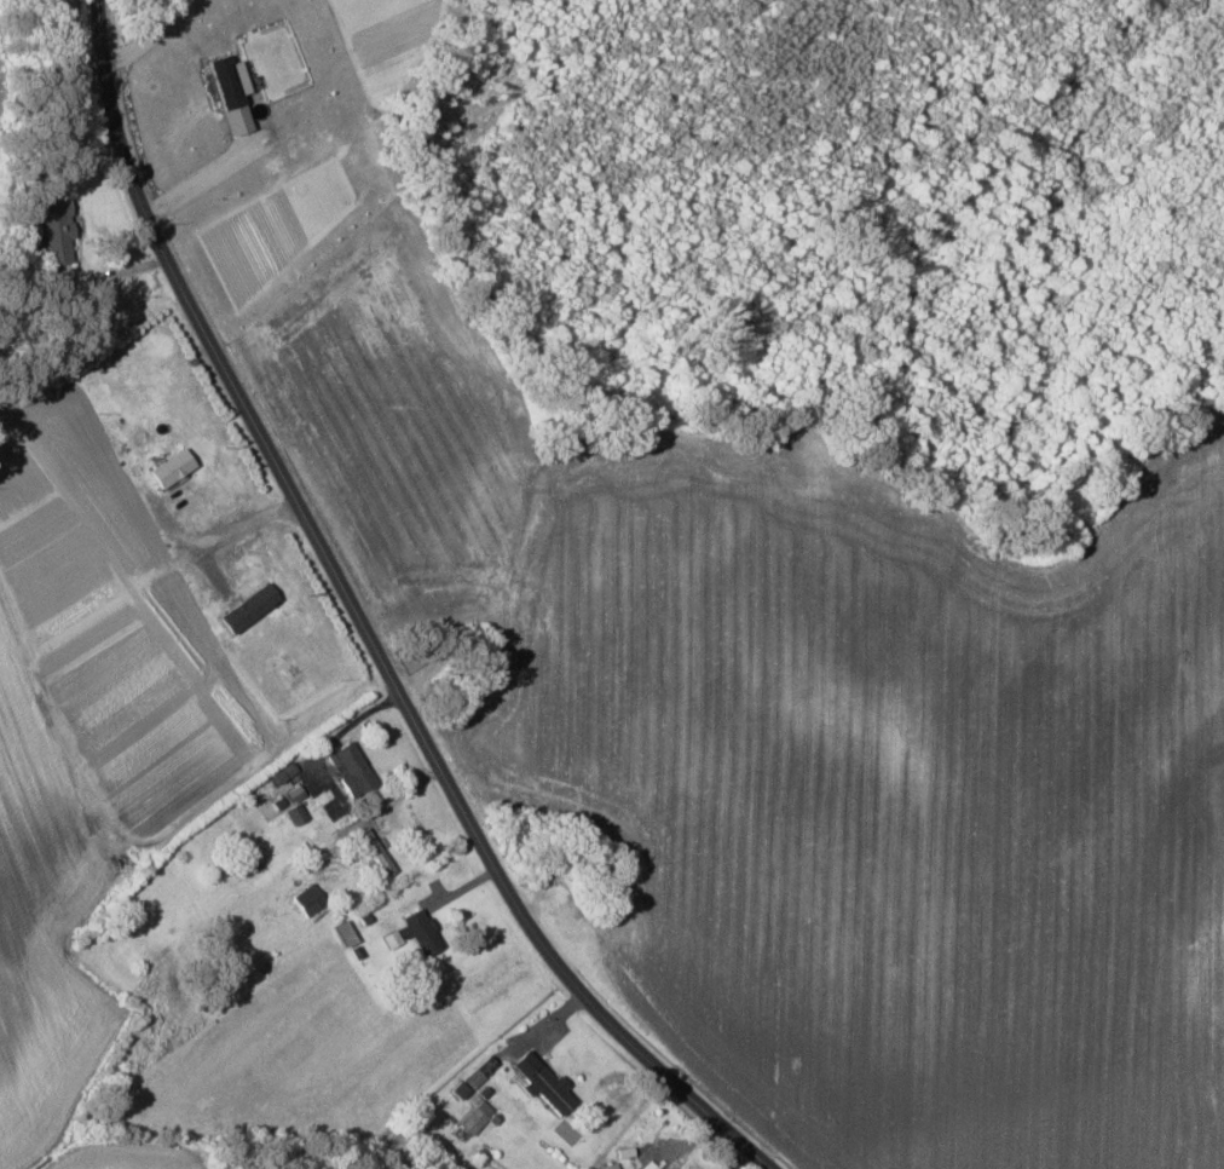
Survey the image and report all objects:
road: (157, 34)
building: (232, 93)
road: (206, 172)
building: (56, 231)
building: (172, 468)
road: (250, 526)
building: (249, 606)
road: (374, 627)
building: (351, 767)
building: (295, 813)
building: (310, 898)
building: (421, 932)
building: (542, 1081)
building: (461, 1089)
building: (475, 1118)
building: (649, 1165)

